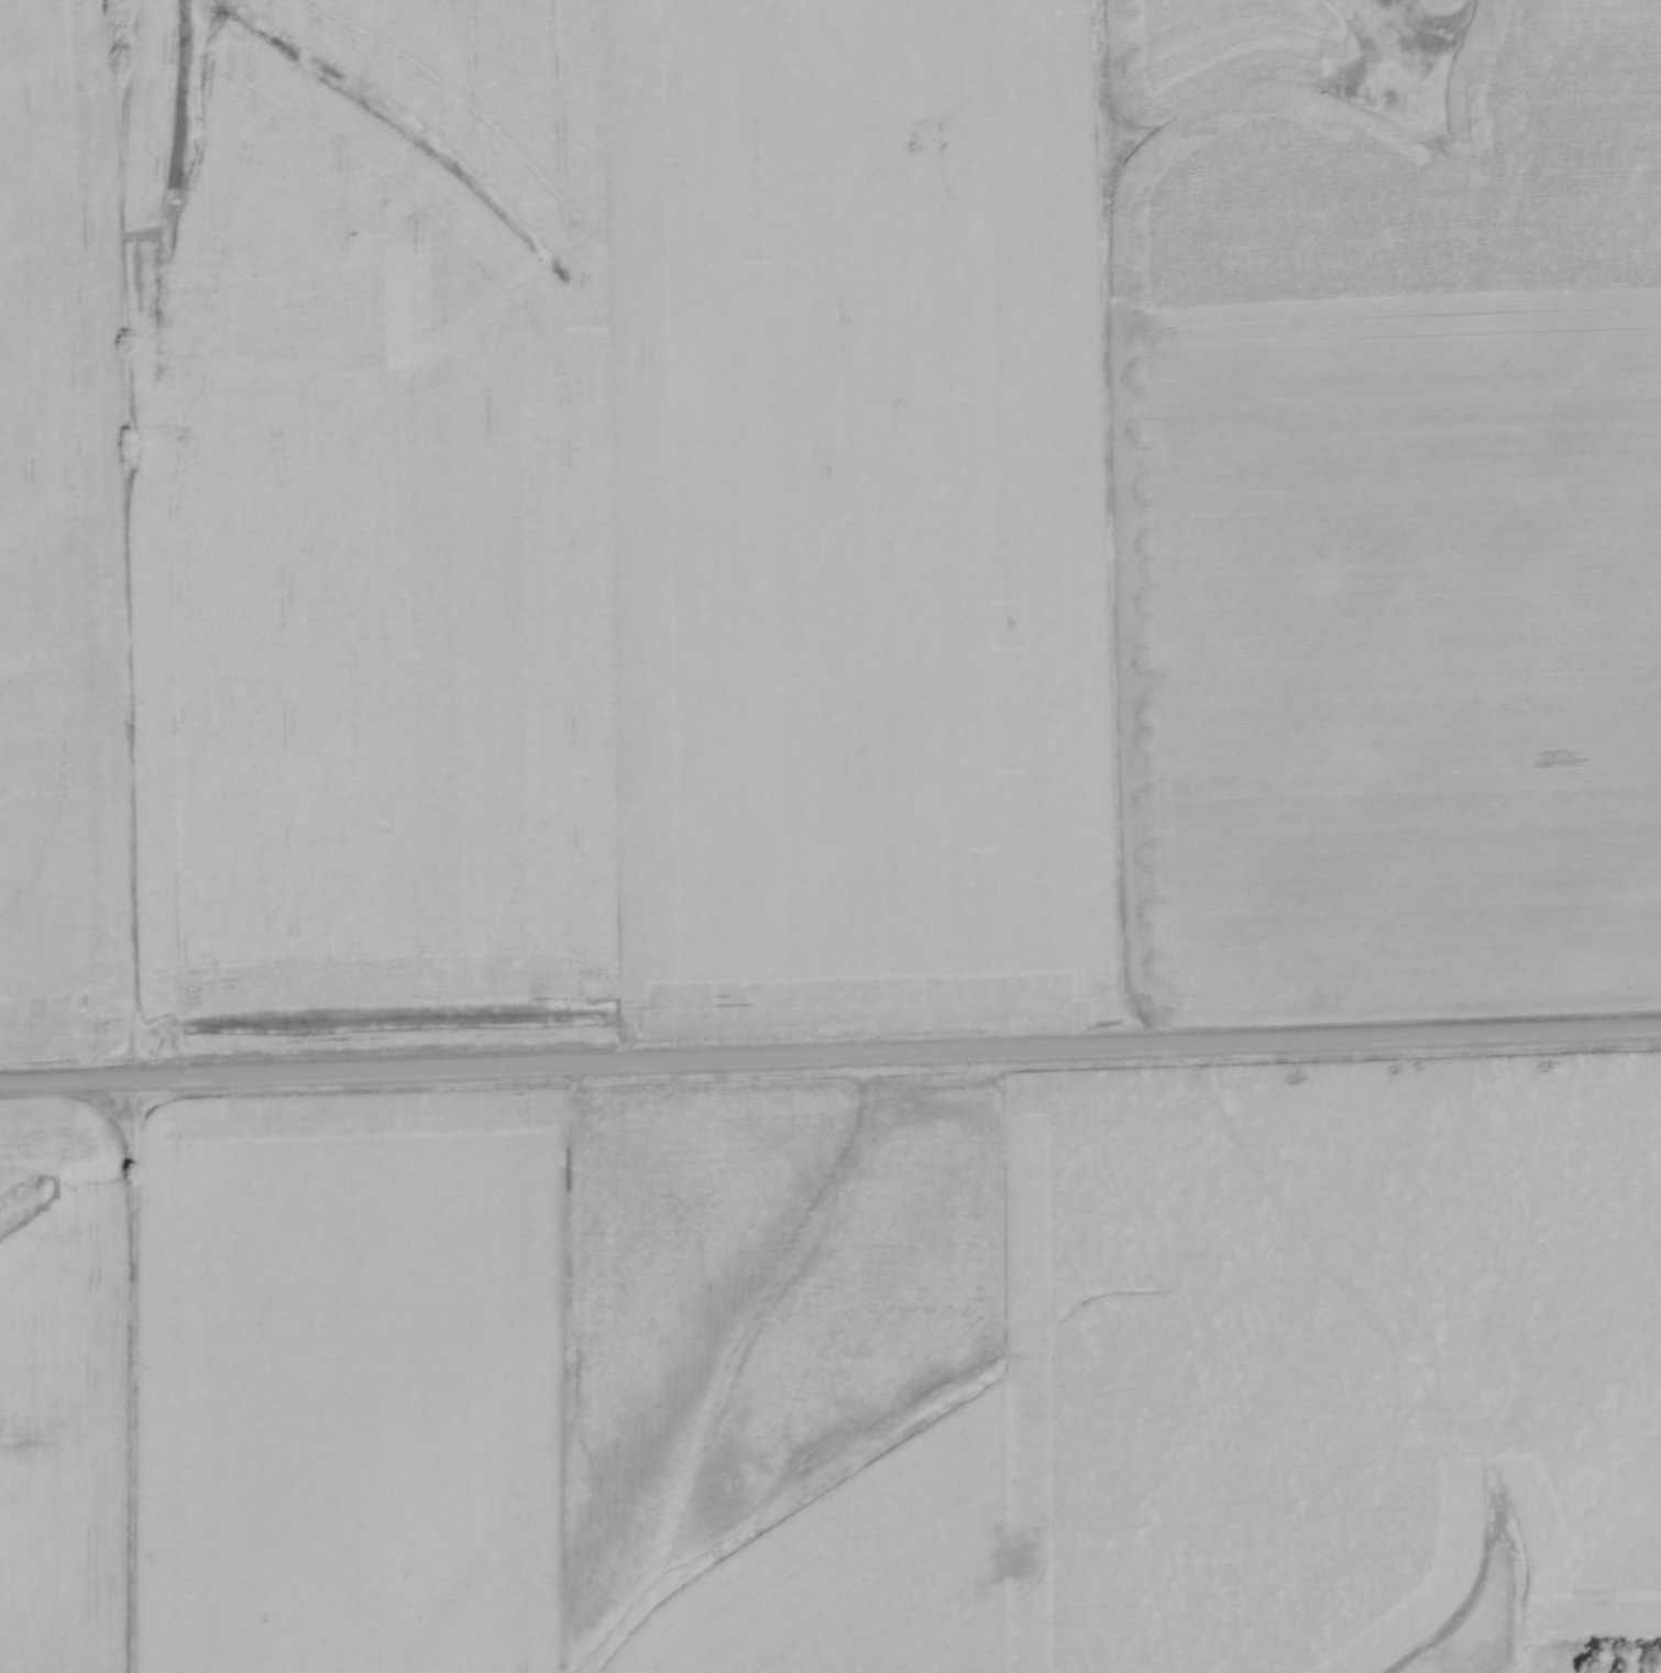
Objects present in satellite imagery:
road: (831, 1054)

